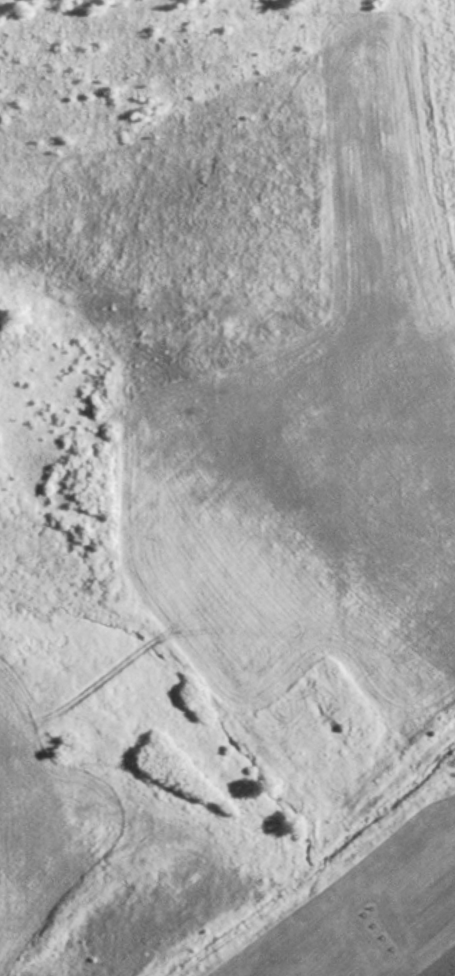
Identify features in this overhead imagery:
airport runway: (449, 971)

